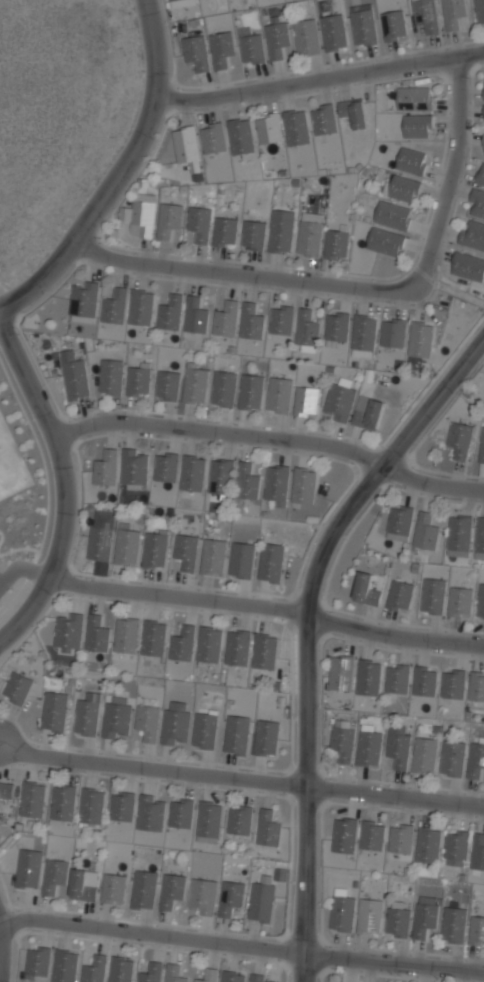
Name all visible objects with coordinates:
building: (173, 0)
building: (479, 11)
building: (453, 12)
building: (425, 15)
building: (363, 25)
building: (393, 25)
building: (333, 32)
building: (307, 36)
building: (277, 38)
building: (250, 47)
building: (221, 48)
building: (196, 51)
road: (322, 78)
building: (483, 87)
building: (414, 98)
building: (353, 112)
building: (483, 115)
building: (324, 120)
building: (417, 126)
building: (296, 128)
building: (268, 133)
building: (212, 137)
building: (240, 137)
building: (185, 143)
building: (483, 145)
building: (411, 160)
road: (449, 172)
road: (118, 173)
building: (480, 175)
building: (401, 188)
building: (477, 205)
building: (392, 215)
building: (140, 216)
building: (169, 219)
building: (199, 223)
building: (281, 231)
building: (224, 232)
building: (310, 234)
building: (253, 235)
building: (472, 235)
building: (385, 241)
building: (336, 243)
building: (467, 267)
road: (244, 273)
building: (83, 300)
building: (114, 307)
building: (141, 307)
building: (169, 312)
building: (194, 315)
building: (281, 319)
building: (225, 321)
building: (250, 322)
building: (337, 327)
building: (307, 328)
building: (363, 333)
building: (392, 334)
building: (420, 340)
building: (75, 376)
building: (110, 377)
building: (139, 379)
building: (195, 384)
building: (166, 385)
building: (223, 388)
building: (250, 392)
building: (279, 395)
building: (340, 398)
building: (306, 401)
building: (368, 413)
building: (459, 440)
road: (273, 441)
building: (482, 446)
building: (165, 466)
building: (134, 467)
building: (106, 468)
building: (192, 473)
building: (221, 476)
building: (247, 482)
building: (277, 484)
road: (63, 485)
building: (304, 486)
building: (399, 523)
building: (426, 532)
building: (459, 533)
building: (100, 536)
building: (479, 539)
building: (127, 544)
building: (154, 548)
building: (185, 550)
building: (213, 556)
building: (241, 559)
building: (270, 562)
building: (367, 590)
building: (400, 595)
building: (432, 595)
building: (460, 602)
building: (480, 602)
road: (268, 615)
building: (69, 633)
road: (306, 633)
building: (96, 634)
building: (126, 635)
building: (153, 637)
building: (182, 644)
building: (209, 644)
building: (238, 647)
building: (265, 651)
building: (341, 672)
building: (369, 678)
building: (397, 679)
building: (424, 682)
building: (454, 684)
building: (476, 687)
building: (17, 688)
building: (54, 711)
building: (116, 716)
building: (86, 717)
building: (147, 721)
building: (175, 723)
building: (204, 730)
building: (236, 735)
building: (266, 737)
building: (342, 739)
building: (368, 749)
building: (398, 750)
building: (424, 755)
building: (476, 757)
building: (452, 758)
road: (153, 767)
building: (6, 793)
road: (395, 798)
building: (33, 799)
building: (63, 802)
building: (91, 805)
building: (122, 805)
building: (151, 812)
building: (180, 812)
building: (239, 819)
building: (209, 820)
building: (268, 828)
building: (344, 835)
building: (372, 835)
building: (401, 839)
building: (427, 846)
building: (457, 849)
building: (478, 852)
building: (28, 868)
building: (54, 875)
building: (84, 884)
building: (113, 888)
building: (143, 890)
building: (171, 890)
building: (202, 896)
building: (230, 897)
building: (261, 899)
building: (341, 910)
building: (370, 915)
building: (426, 917)
building: (398, 919)
building: (453, 925)
building: (476, 930)
road: (241, 945)
building: (38, 960)
building: (65, 965)
building: (95, 969)
building: (120, 969)
building: (150, 973)
building: (174, 974)
building: (208, 976)
building: (233, 977)
building: (258, 978)

